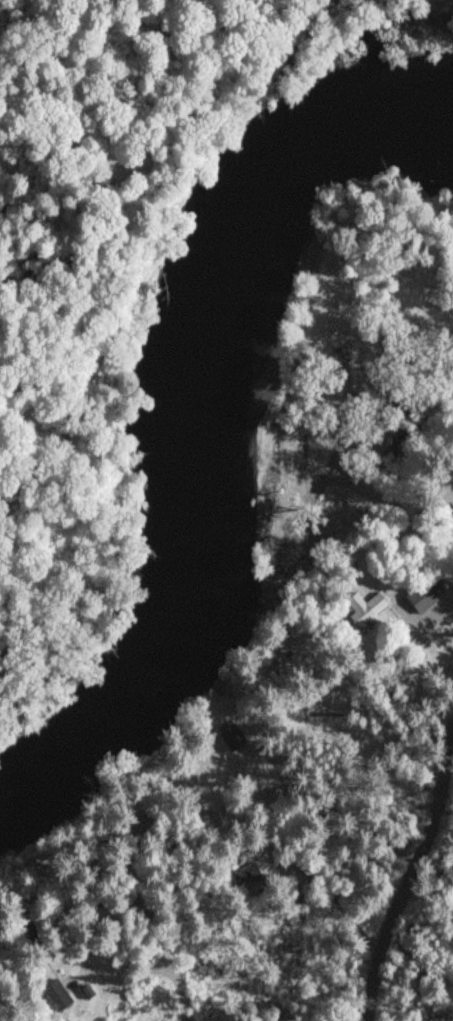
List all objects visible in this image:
river: (202, 431)
building: (418, 598)
road: (396, 897)

